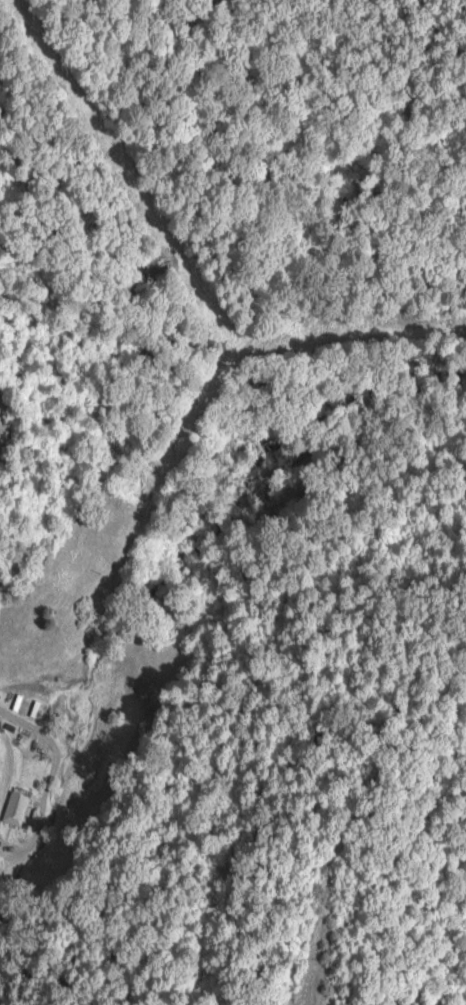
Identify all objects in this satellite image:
building: (14, 807)

